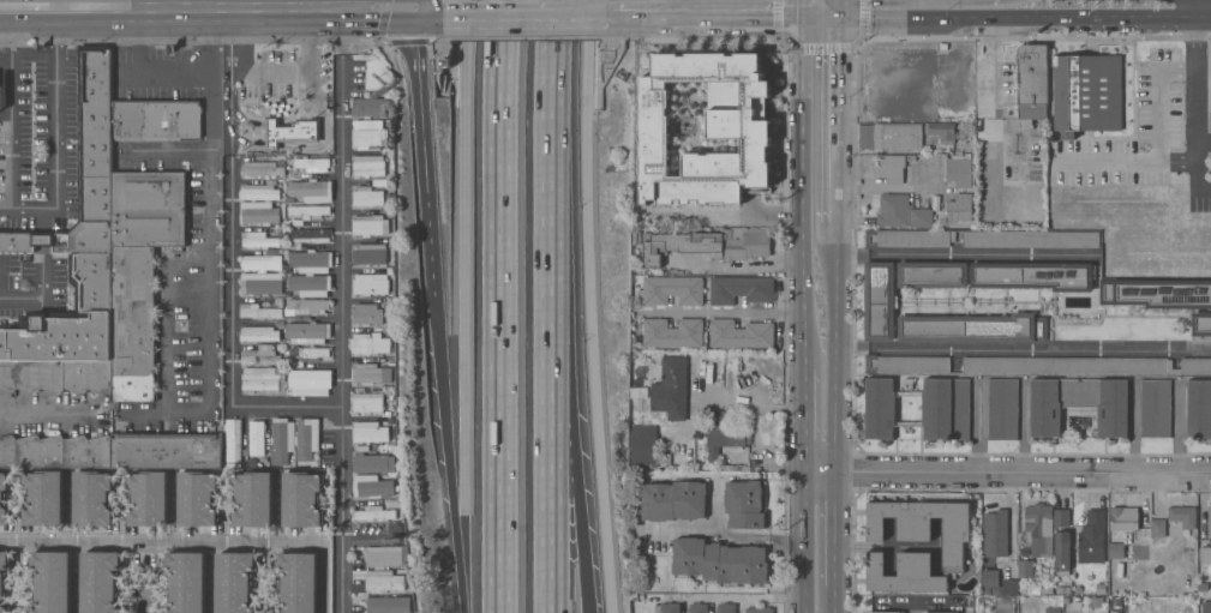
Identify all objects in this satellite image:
road: (220, 2)
road: (326, 2)
road: (348, 2)
road: (418, 2)
road: (669, 2)
road: (801, 2)
road: (805, 2)
road: (30, 4)
road: (104, 4)
traffic signals: (418, 5)
road: (430, 5)
road: (496, 5)
road: (580, 5)
road: (706, 5)
traffic signals: (801, 5)
road: (232, 6)
road: (23, 7)
road: (838, 8)
road: (1191, 10)
road: (1210, 10)
traffic signals: (838, 18)
road: (954, 18)
road: (1151, 18)
road: (1201, 19)
road: (383, 20)
road: (779, 23)
road: (312, 26)
road: (526, 40)
road: (755, 40)
road: (415, 41)
road: (618, 47)
road: (440, 56)
road: (227, 58)
road: (991, 62)
road: (454, 64)
road: (444, 65)
road: (313, 70)
parking lot: (284, 74)
building: (873, 76)
road: (138, 78)
road: (451, 79)
building: (1032, 82)
road: (601, 89)
building: (1087, 92)
road: (1158, 98)
building: (368, 107)
road: (10, 108)
road: (1193, 110)
building: (156, 119)
road: (837, 120)
road: (275, 122)
road: (228, 127)
building: (941, 131)
building: (289, 132)
building: (366, 134)
road: (54, 136)
building: (868, 137)
building: (900, 137)
road: (1203, 140)
road: (422, 144)
road: (301, 149)
road: (164, 151)
building: (910, 158)
road: (1125, 161)
building: (312, 164)
building: (368, 166)
building: (84, 167)
building: (262, 168)
building: (891, 169)
building: (959, 173)
building: (1066, 173)
building: (645, 179)
road: (802, 186)
building: (311, 191)
building: (258, 192)
building: (367, 197)
building: (936, 203)
building: (679, 205)
building: (750, 208)
building: (959, 209)
building: (893, 210)
building: (258, 212)
building: (307, 212)
building: (707, 217)
building: (921, 218)
building: (696, 221)
building: (370, 226)
building: (306, 236)
building: (909, 238)
building: (1031, 239)
building: (259, 240)
building: (707, 246)
road: (208, 247)
building: (370, 254)
road: (967, 256)
building: (311, 262)
building: (260, 263)
road: (467, 270)
building: (139, 272)
building: (933, 275)
building: (1032, 276)
road: (0, 280)
building: (370, 284)
building: (308, 286)
road: (232, 287)
building: (260, 287)
building: (739, 289)
building: (671, 290)
building: (1156, 293)
road: (37, 298)
building: (879, 301)
road: (500, 306)
road: (556, 306)
road: (589, 306)
building: (306, 307)
building: (258, 311)
building: (367, 313)
road: (720, 314)
building: (68, 321)
building: (1201, 324)
building: (972, 327)
building: (671, 332)
building: (259, 333)
building: (307, 333)
building: (739, 333)
road: (341, 338)
building: (370, 343)
road: (835, 348)
road: (1023, 349)
building: (310, 353)
building: (262, 355)
building: (906, 363)
building: (1085, 366)
building: (367, 373)
building: (56, 378)
building: (263, 378)
building: (311, 379)
building: (671, 389)
building: (639, 392)
road: (572, 397)
building: (368, 402)
building: (1079, 403)
road: (286, 407)
building: (1155, 408)
building: (946, 409)
building: (1002, 409)
building: (1199, 409)
road: (756, 410)
road: (49, 411)
road: (443, 413)
road: (804, 421)
building: (370, 432)
building: (254, 438)
building: (306, 438)
building: (725, 438)
building: (233, 439)
building: (282, 440)
building: (645, 445)
building: (167, 451)
building: (55, 452)
building: (371, 464)
road: (1007, 473)
building: (372, 486)
building: (43, 498)
building: (92, 498)
building: (149, 498)
building: (197, 498)
building: (1, 499)
building: (253, 499)
building: (301, 499)
building: (673, 500)
building: (744, 505)
road: (174, 509)
road: (277, 509)
building: (374, 512)
building: (1182, 516)
building: (1123, 518)
building: (993, 521)
building: (1209, 521)
building: (1043, 525)
building: (1157, 528)
road: (834, 530)
road: (721, 536)
building: (1092, 537)
road: (156, 541)
road: (74, 543)
road: (804, 543)
building: (955, 545)
building: (1062, 552)
building: (1115, 552)
building: (987, 554)
building: (1204, 554)
building: (384, 557)
building: (720, 561)
building: (977, 565)
building: (1025, 569)
road: (468, 577)
building: (2, 578)
building: (384, 581)
building: (52, 582)
building: (98, 582)
building: (187, 582)
building: (234, 582)
building: (299, 582)
building: (988, 583)
building: (1008, 587)
building: (1101, 588)
building: (1045, 590)
building: (1062, 590)
road: (737, 600)
road: (834, 600)
building: (1077, 600)
building: (1097, 602)
road: (918, 603)
building: (389, 605)
building: (1002, 605)
building: (1119, 606)
building: (697, 607)
building: (1206, 607)
building: (667, 608)
building: (726, 608)
road: (915, 608)
building: (759, 609)
building: (1053, 609)
building: (880, 612)
building: (935, 612)

